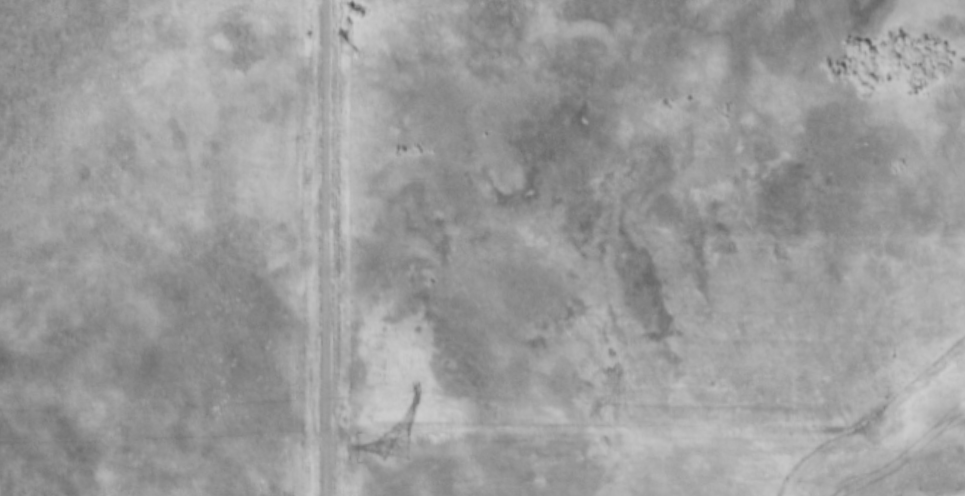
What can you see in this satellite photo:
road: (326, 248)
power tower: (389, 446)

